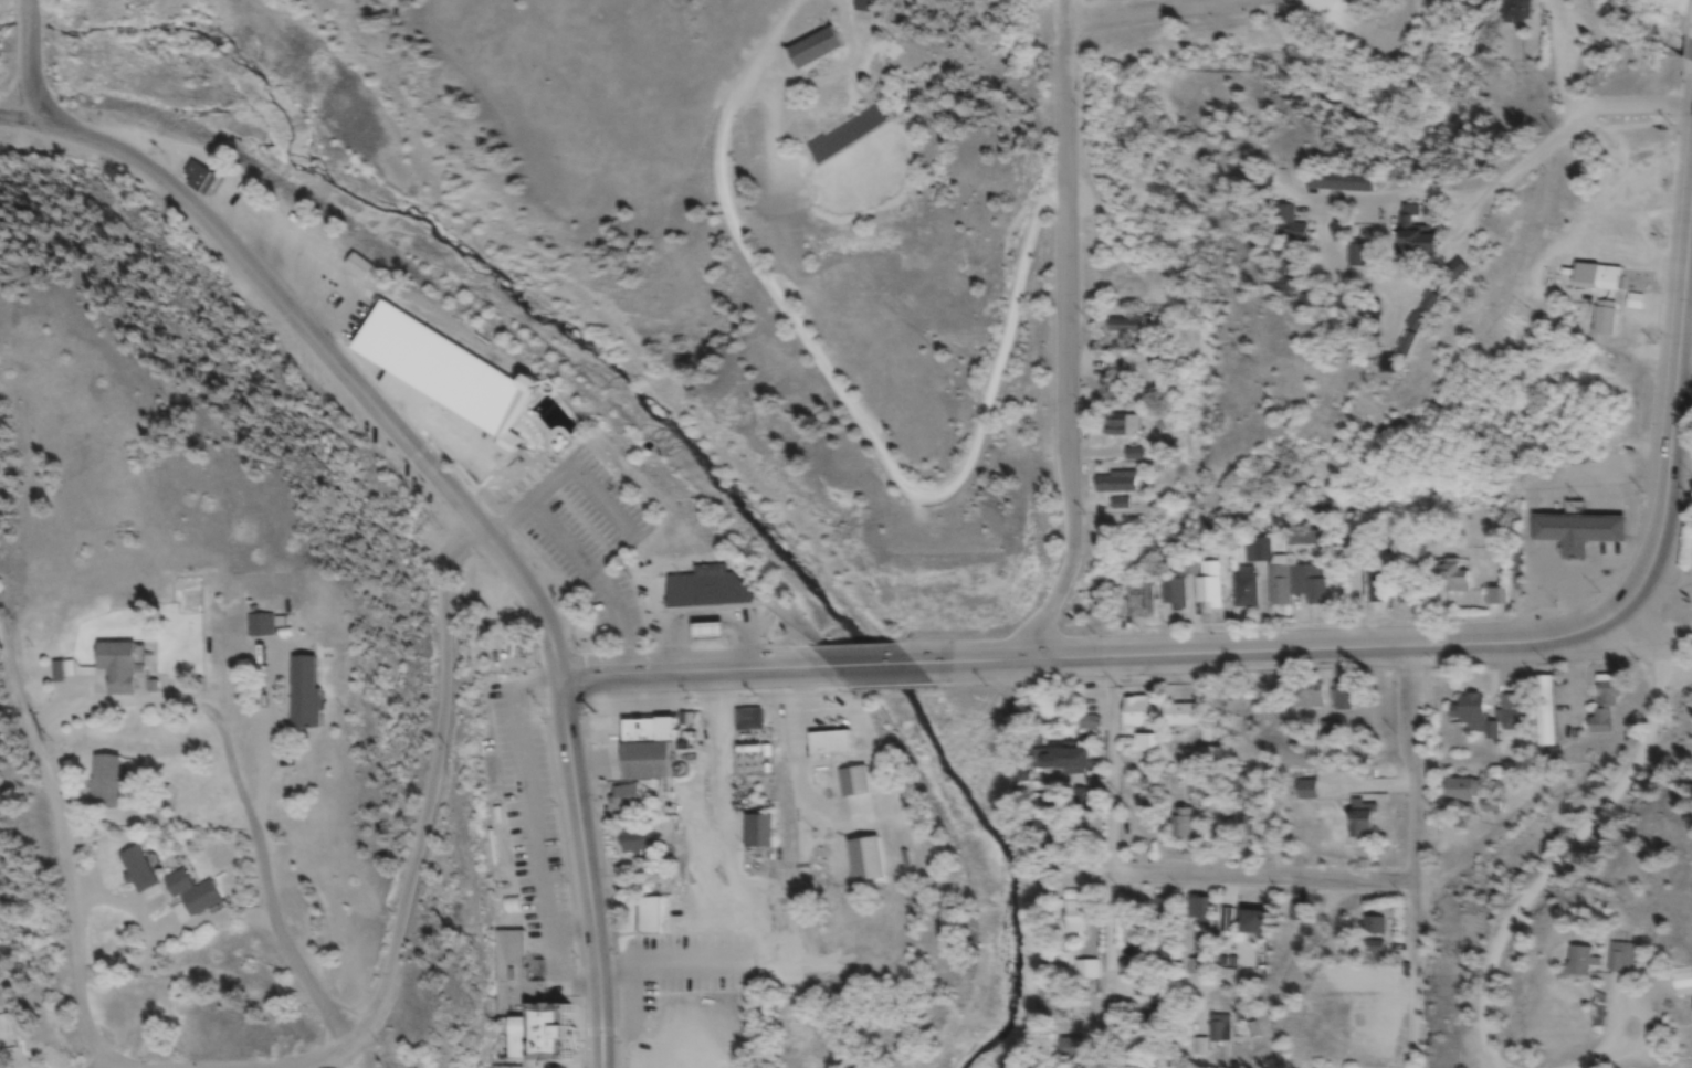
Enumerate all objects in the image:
road: (1143, 10)
building: (1514, 12)
river: (29, 29)
river: (6, 32)
building: (815, 51)
road: (31, 56)
road: (1559, 57)
road: (1637, 107)
road: (14, 112)
building: (845, 137)
road: (1505, 177)
building: (198, 181)
building: (1335, 186)
building: (1282, 229)
road: (1690, 235)
building: (1410, 236)
building: (1353, 260)
building: (358, 269)
building: (1608, 281)
road: (339, 286)
building: (1312, 305)
building: (1604, 320)
building: (1129, 327)
building: (1413, 327)
road: (1061, 334)
road: (1684, 359)
road: (330, 363)
building: (446, 394)
road: (1674, 396)
road: (413, 422)
road: (858, 423)
building: (1126, 427)
river: (670, 438)
parking lot: (376, 441)
road: (417, 453)
building: (1115, 485)
road: (603, 498)
road: (504, 519)
building: (1577, 535)
parking lot: (587, 536)
road: (580, 559)
building: (1451, 581)
road: (561, 584)
building: (1297, 586)
building: (1376, 586)
building: (1210, 589)
building: (1246, 590)
building: (705, 592)
building: (1174, 598)
building: (1497, 600)
road: (1404, 602)
building: (1134, 603)
park: (491, 624)
building: (259, 628)
building: (705, 635)
road: (1299, 651)
road: (869, 662)
road: (578, 665)
building: (116, 669)
road: (673, 672)
building: (61, 673)
building: (1608, 691)
building: (302, 696)
building: (1309, 697)
building: (1343, 698)
parking lot: (634, 706)
building: (1135, 713)
building: (1513, 713)
building: (1545, 713)
building: (1180, 716)
building: (1473, 717)
building: (747, 721)
building: (1599, 723)
building: (1087, 725)
building: (654, 732)
building: (822, 744)
parking lot: (608, 748)
building: (1065, 760)
building: (653, 765)
building: (853, 782)
building: (104, 784)
building: (1305, 790)
building: (1461, 791)
building: (632, 799)
road: (432, 814)
building: (1360, 819)
road: (1110, 821)
building: (1244, 822)
parking lot: (534, 824)
building: (1181, 825)
building: (757, 833)
building: (641, 843)
road: (64, 847)
road: (1408, 859)
building: (136, 871)
road: (586, 873)
road: (1246, 880)
building: (190, 895)
building: (1247, 910)
building: (1201, 912)
building: (1296, 914)
building: (1074, 916)
building: (656, 918)
building: (1374, 927)
building: (1163, 931)
building: (1621, 960)
building: (1580, 963)
building: (1200, 970)
building: (1126, 971)
building: (1086, 972)
parking lot: (679, 974)
building: (1682, 985)
road: (1157, 988)
road: (600, 1029)
road: (580, 1032)
building: (547, 1040)

